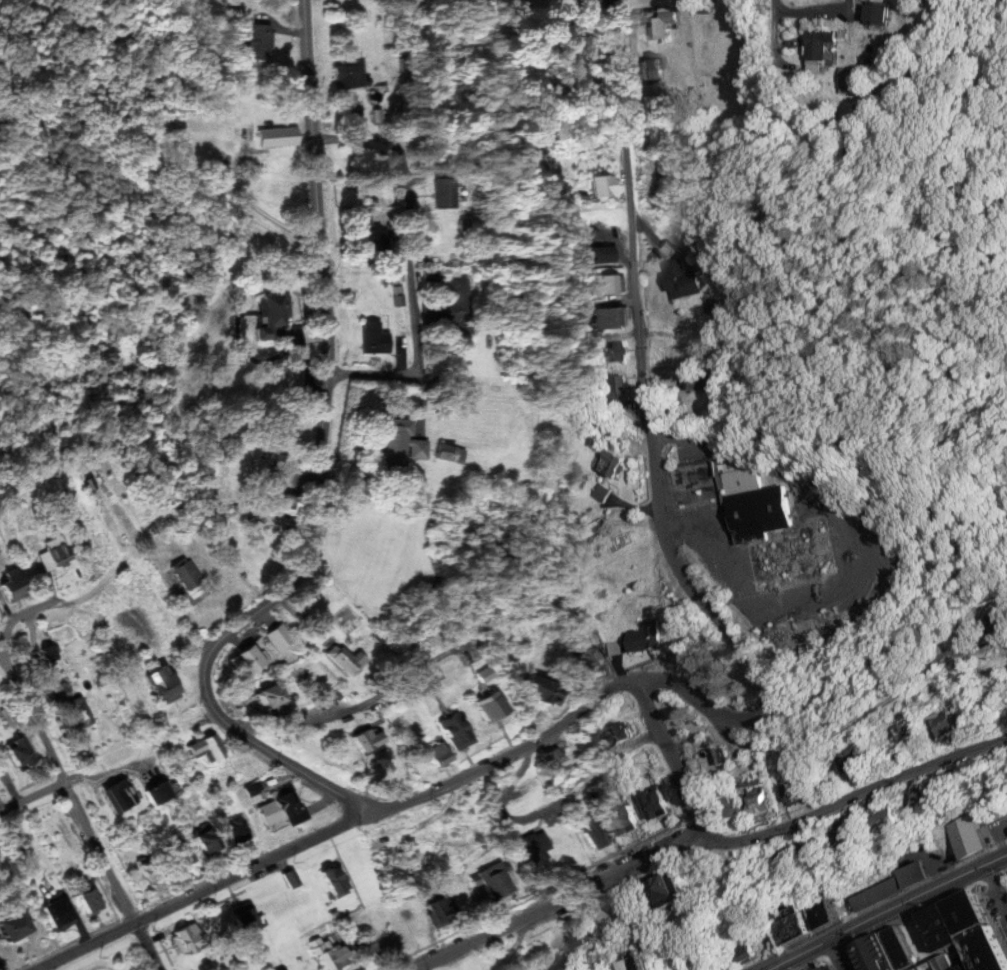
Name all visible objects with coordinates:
building: (594, 2)
building: (664, 24)
road: (780, 33)
building: (259, 40)
building: (829, 40)
building: (652, 67)
building: (348, 74)
building: (856, 76)
building: (277, 136)
building: (604, 184)
building: (444, 191)
road: (254, 206)
building: (371, 232)
building: (601, 254)
road: (407, 263)
building: (684, 278)
building: (609, 284)
building: (462, 291)
building: (272, 315)
building: (611, 317)
building: (376, 338)
building: (616, 351)
building: (695, 381)
building: (617, 389)
building: (405, 442)
road: (653, 444)
building: (451, 452)
building: (278, 458)
building: (614, 462)
road: (322, 472)
building: (601, 492)
building: (287, 503)
building: (763, 519)
building: (596, 528)
building: (57, 550)
building: (188, 574)
building: (14, 586)
road: (26, 614)
building: (281, 636)
building: (646, 636)
road: (4, 640)
building: (614, 648)
building: (48, 652)
building: (348, 659)
building: (589, 659)
building: (248, 661)
building: (164, 683)
building: (541, 690)
building: (270, 696)
building: (492, 706)
building: (77, 713)
building: (947, 724)
road: (839, 729)
building: (457, 730)
building: (911, 730)
building: (618, 735)
building: (367, 740)
building: (206, 747)
building: (20, 753)
building: (440, 754)
road: (106, 761)
building: (555, 761)
building: (855, 761)
road: (676, 763)
building: (801, 791)
building: (159, 792)
building: (119, 796)
building: (917, 796)
building: (762, 801)
building: (657, 803)
building: (735, 806)
building: (283, 808)
road: (79, 813)
building: (625, 820)
building: (888, 820)
road: (343, 825)
building: (849, 828)
building: (237, 830)
building: (597, 833)
building: (968, 837)
building: (208, 841)
road: (711, 844)
building: (180, 850)
building: (948, 861)
building: (150, 868)
building: (728, 869)
building: (291, 878)
building: (334, 880)
building: (495, 881)
building: (891, 886)
building: (666, 890)
road: (995, 895)
building: (89, 900)
building: (439, 912)
building: (821, 913)
building: (58, 914)
road: (892, 914)
building: (244, 922)
building: (576, 934)
building: (189, 938)
building: (941, 939)
building: (368, 947)
building: (745, 953)
building: (331, 955)
road: (839, 956)
building: (632, 962)

